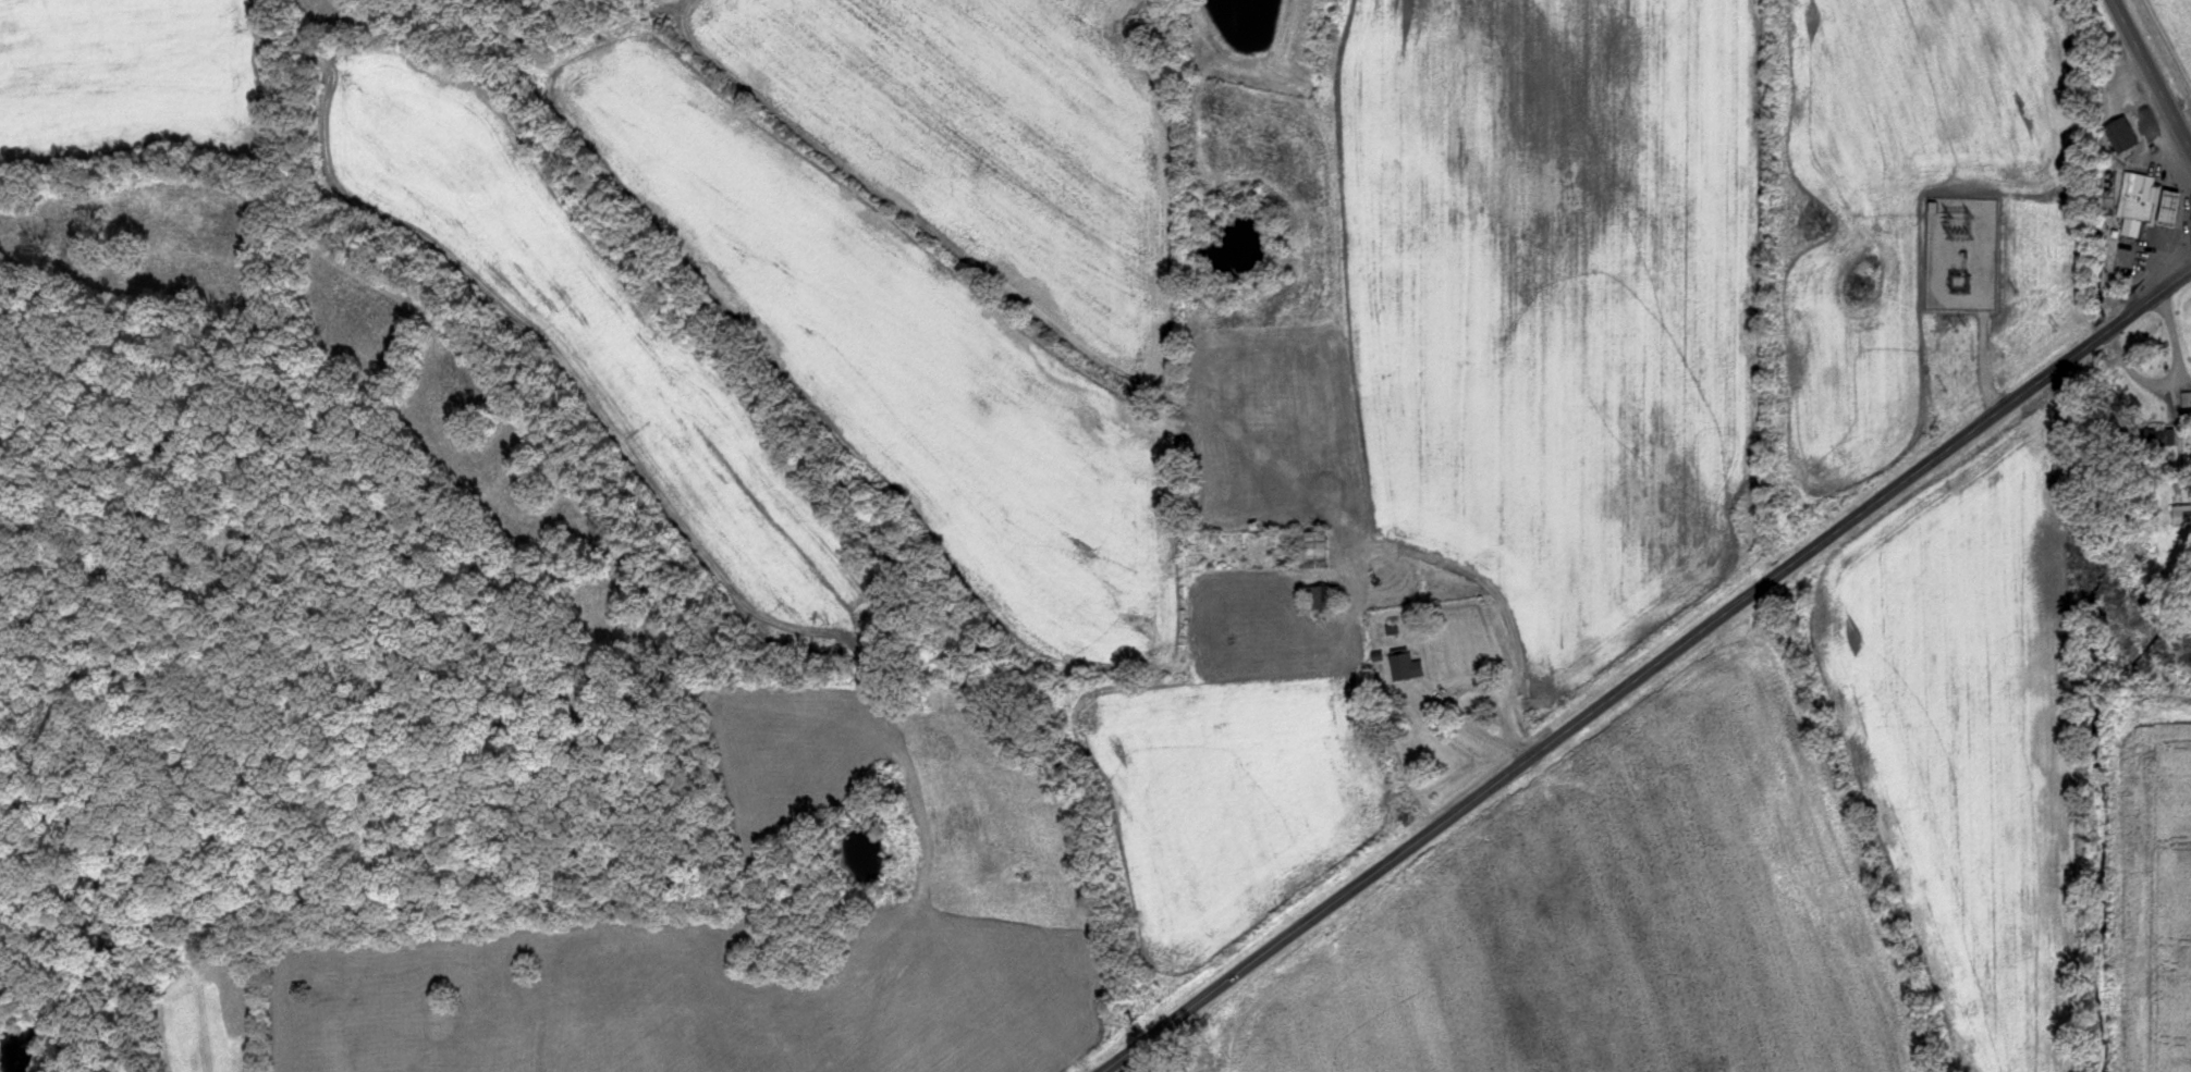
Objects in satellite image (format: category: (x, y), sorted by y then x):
road: (2151, 75)
building: (2121, 134)
building: (2138, 202)
building: (2156, 438)
building: (2182, 514)
building: (1318, 551)
building: (1322, 599)
building: (1411, 667)
road: (1649, 668)

